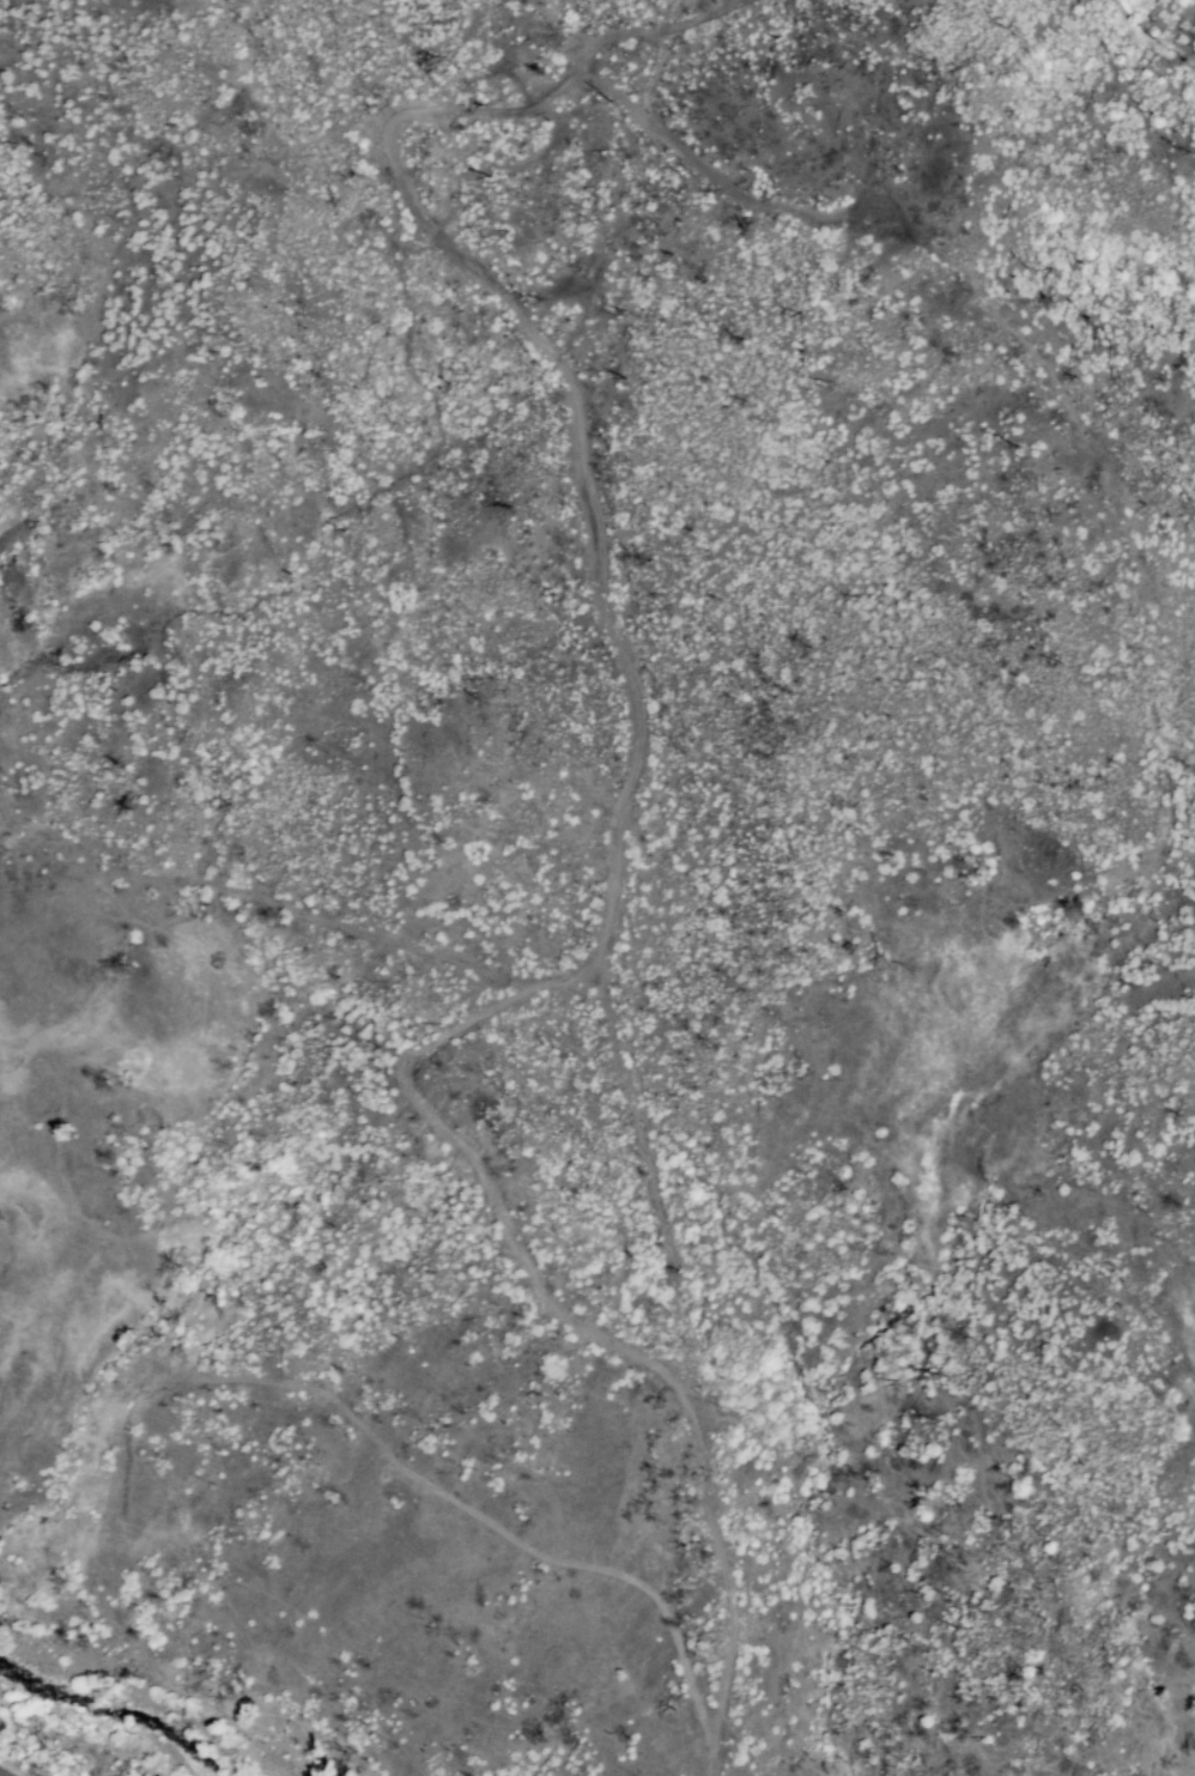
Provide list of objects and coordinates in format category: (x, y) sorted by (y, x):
road: (978, 274)
road: (635, 822)
road: (0, 1775)

